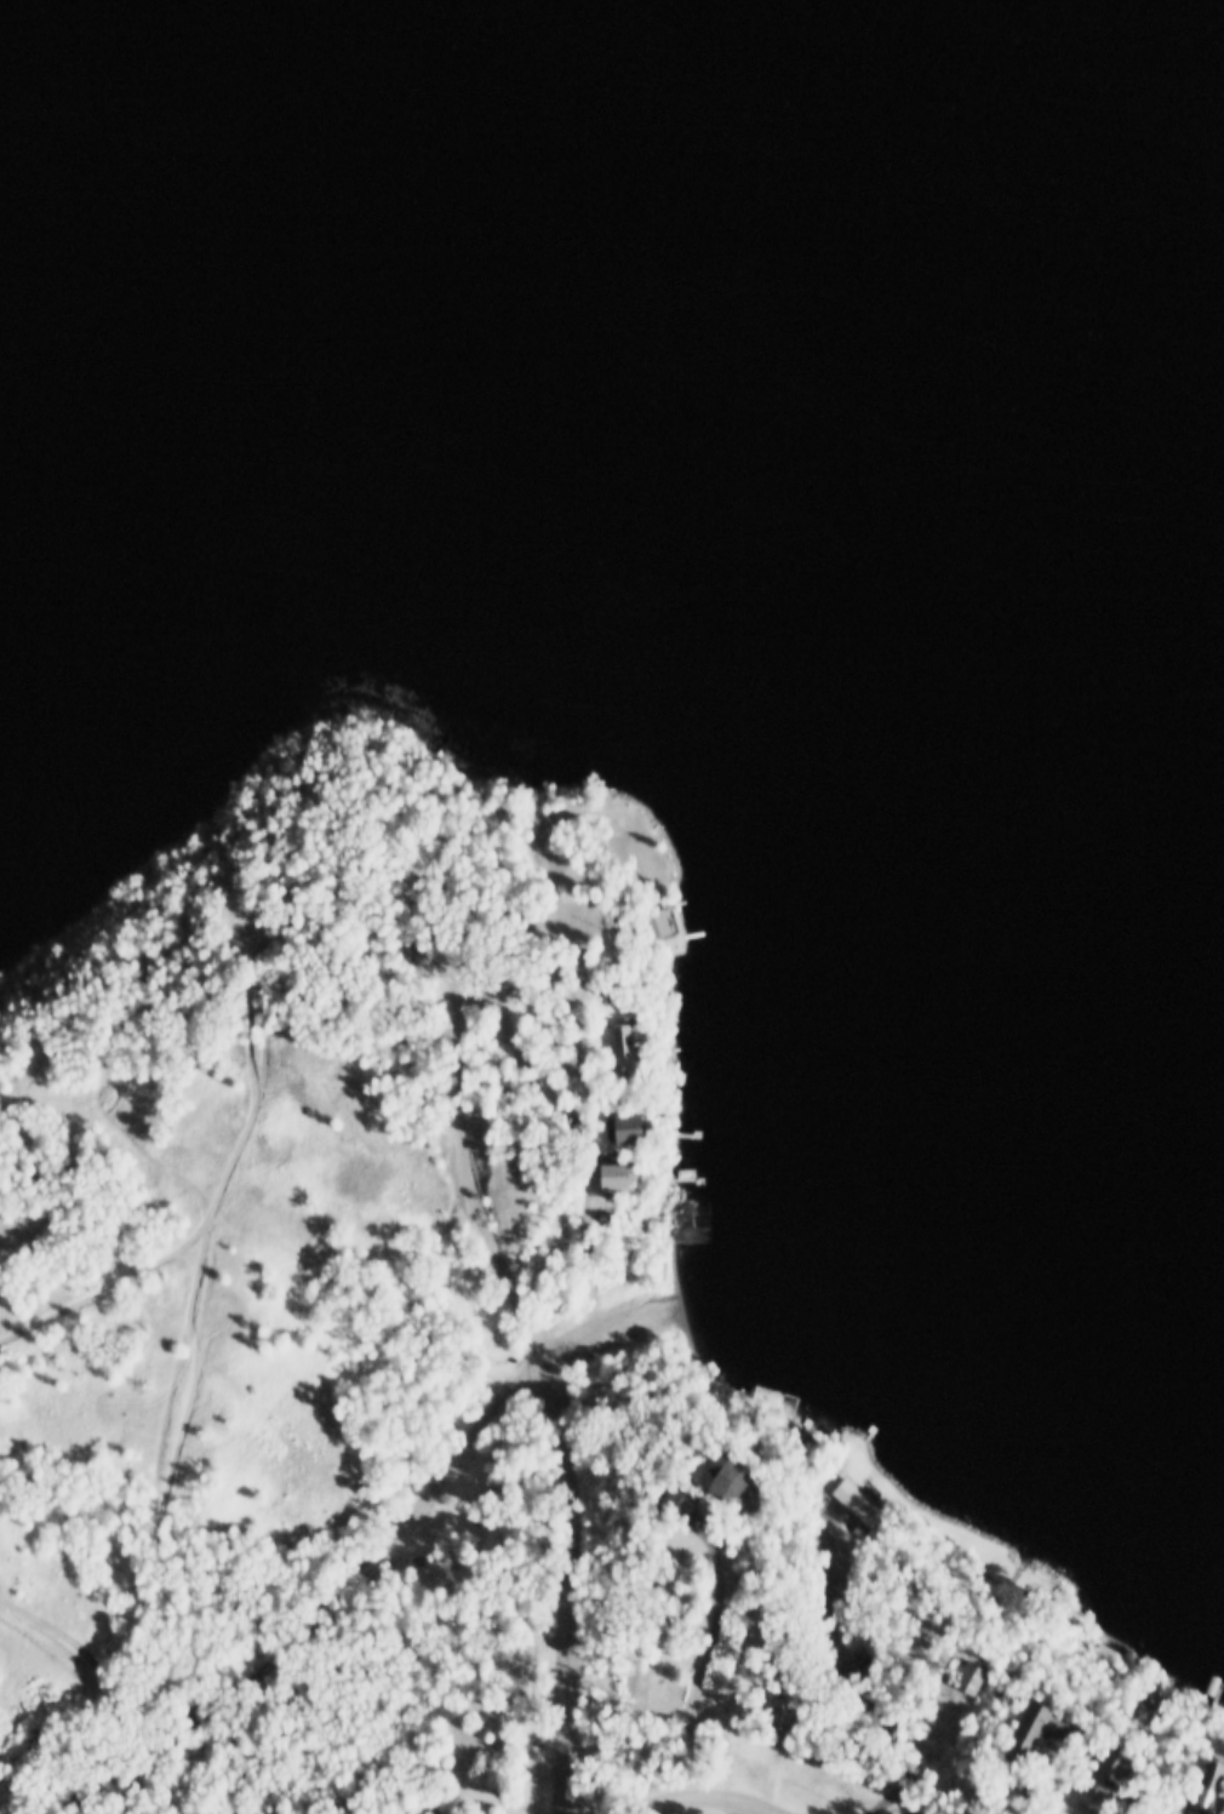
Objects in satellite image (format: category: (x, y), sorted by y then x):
building: (629, 859)
building: (647, 921)
building: (671, 921)
road: (370, 937)
road: (564, 960)
building: (533, 975)
building: (602, 991)
building: (618, 1041)
building: (616, 1125)
building: (602, 1173)
road: (464, 1177)
road: (607, 1317)
road: (465, 1432)
building: (715, 1471)
building: (748, 1477)
building: (693, 1497)
building: (858, 1497)
building: (670, 1498)
road: (572, 1578)
building: (1106, 1650)
road: (705, 1664)
building: (960, 1677)
building: (988, 1677)
building: (778, 1709)
road: (190, 1729)
building: (1026, 1730)
building: (1100, 1761)
building: (1202, 1786)
road: (940, 1792)
road: (705, 1796)
road: (1094, 1803)

